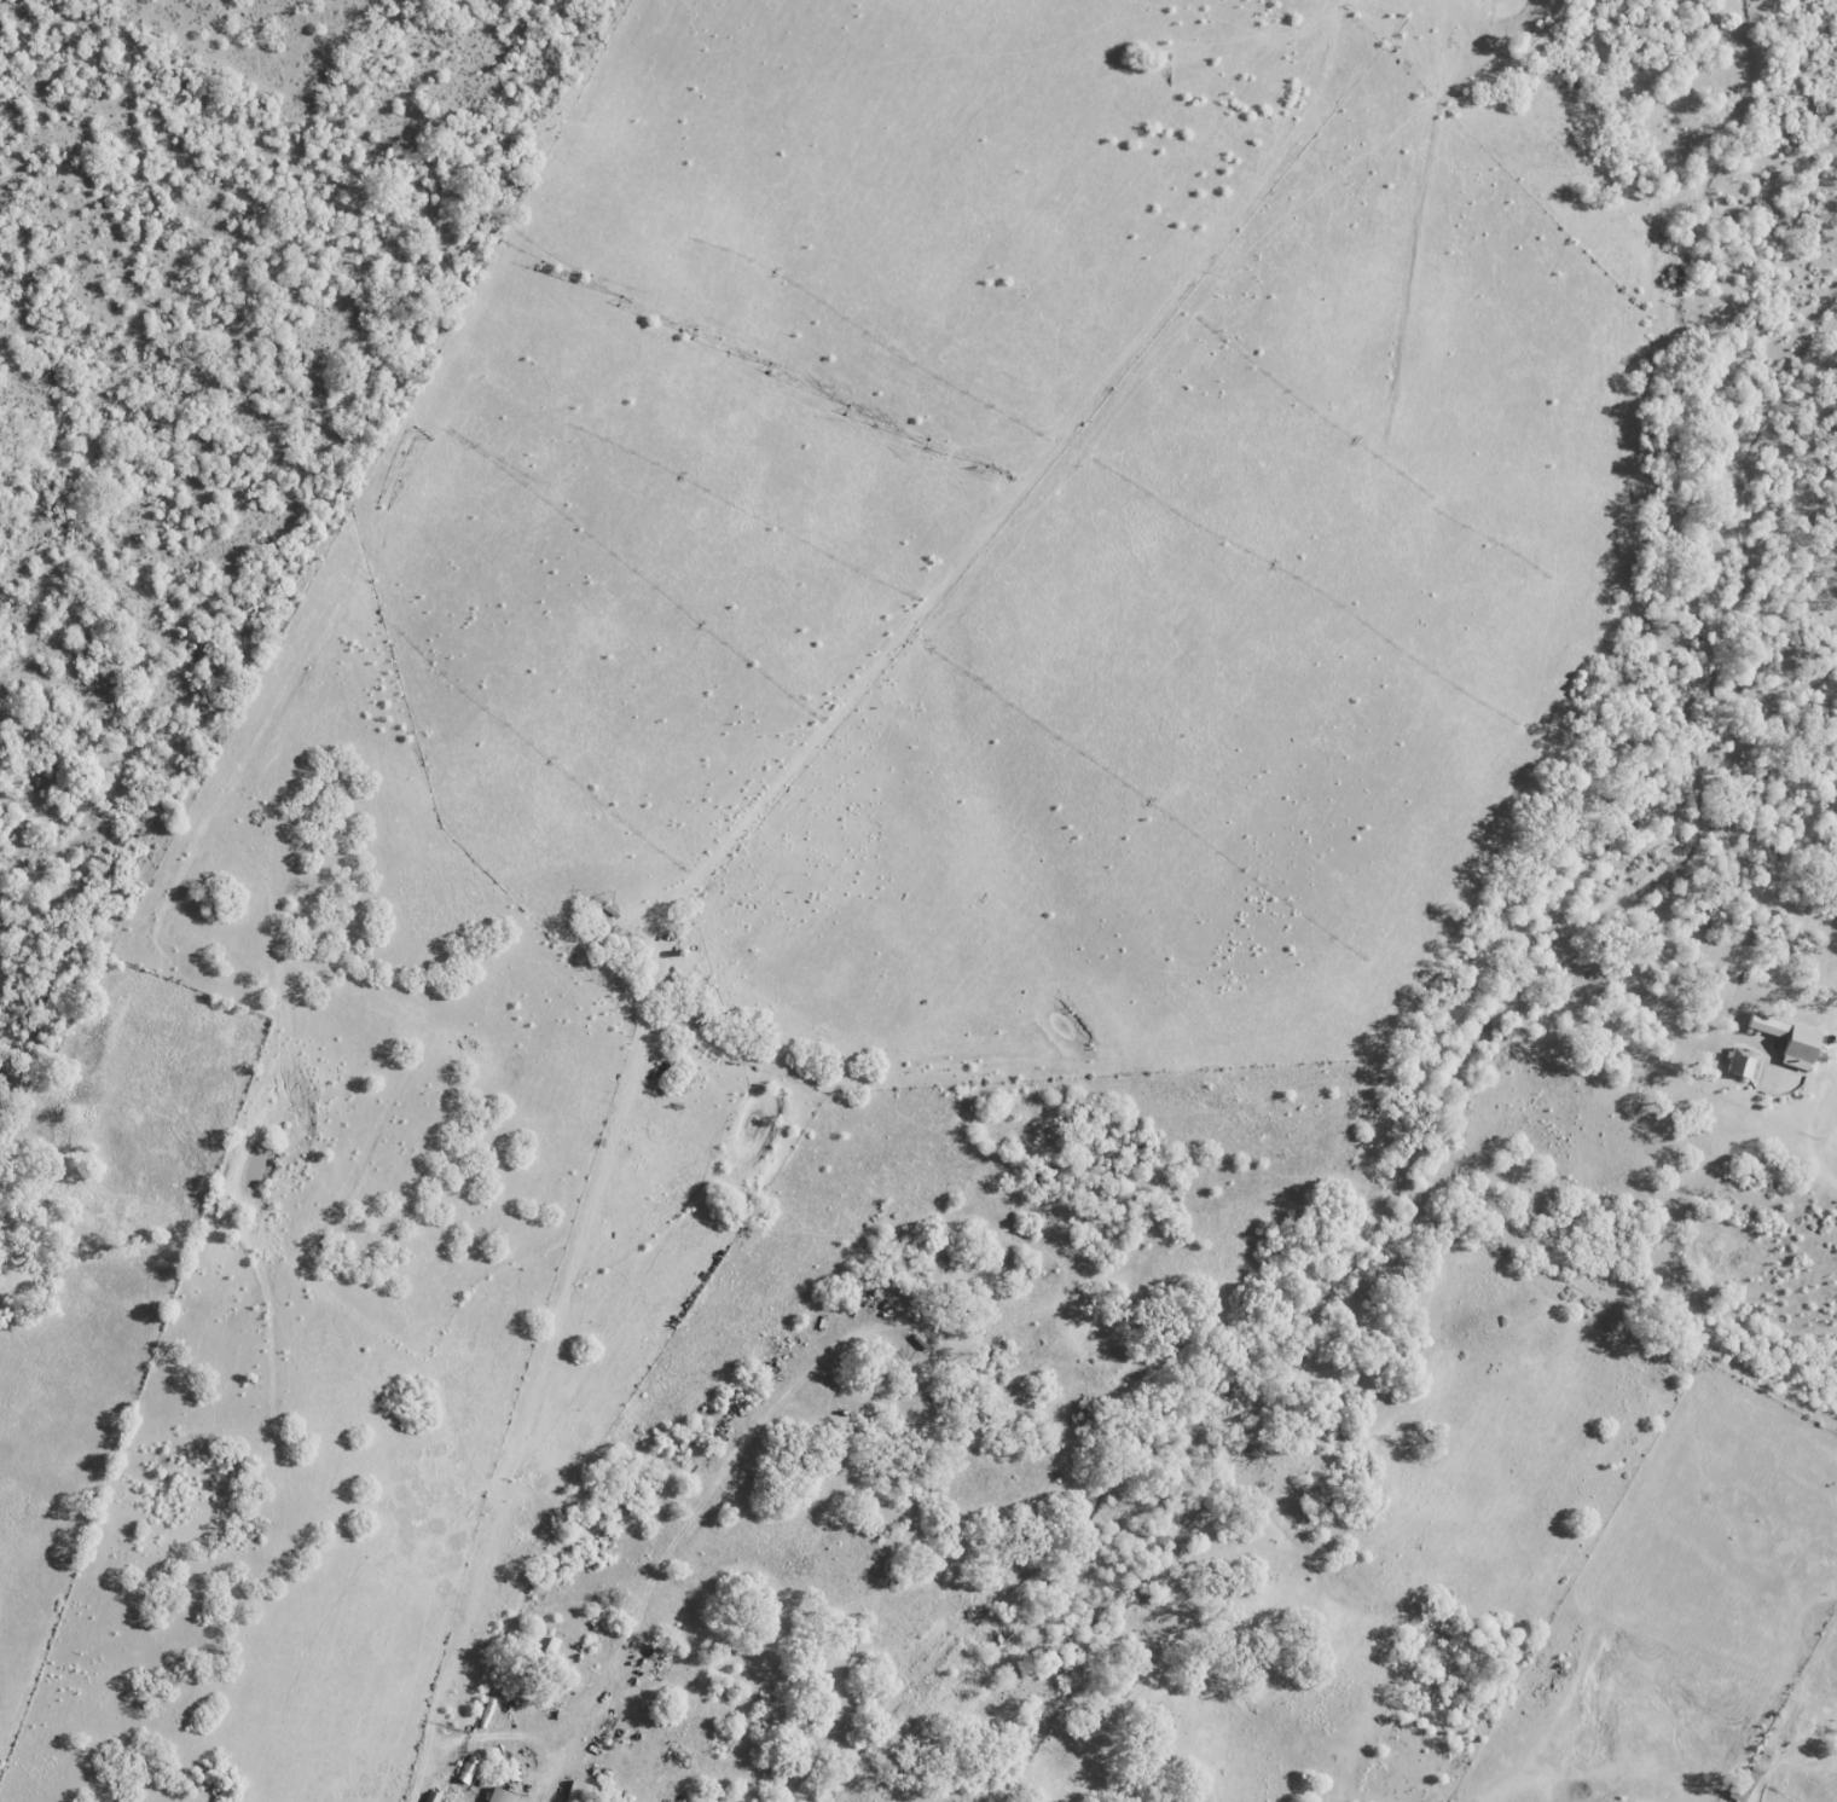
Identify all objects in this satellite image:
building: (1793, 1041)
building: (1743, 1062)
road: (1818, 1140)
road: (296, 1705)
road: (463, 1742)
building: (1746, 1785)
building: (585, 1791)
building: (503, 1795)

